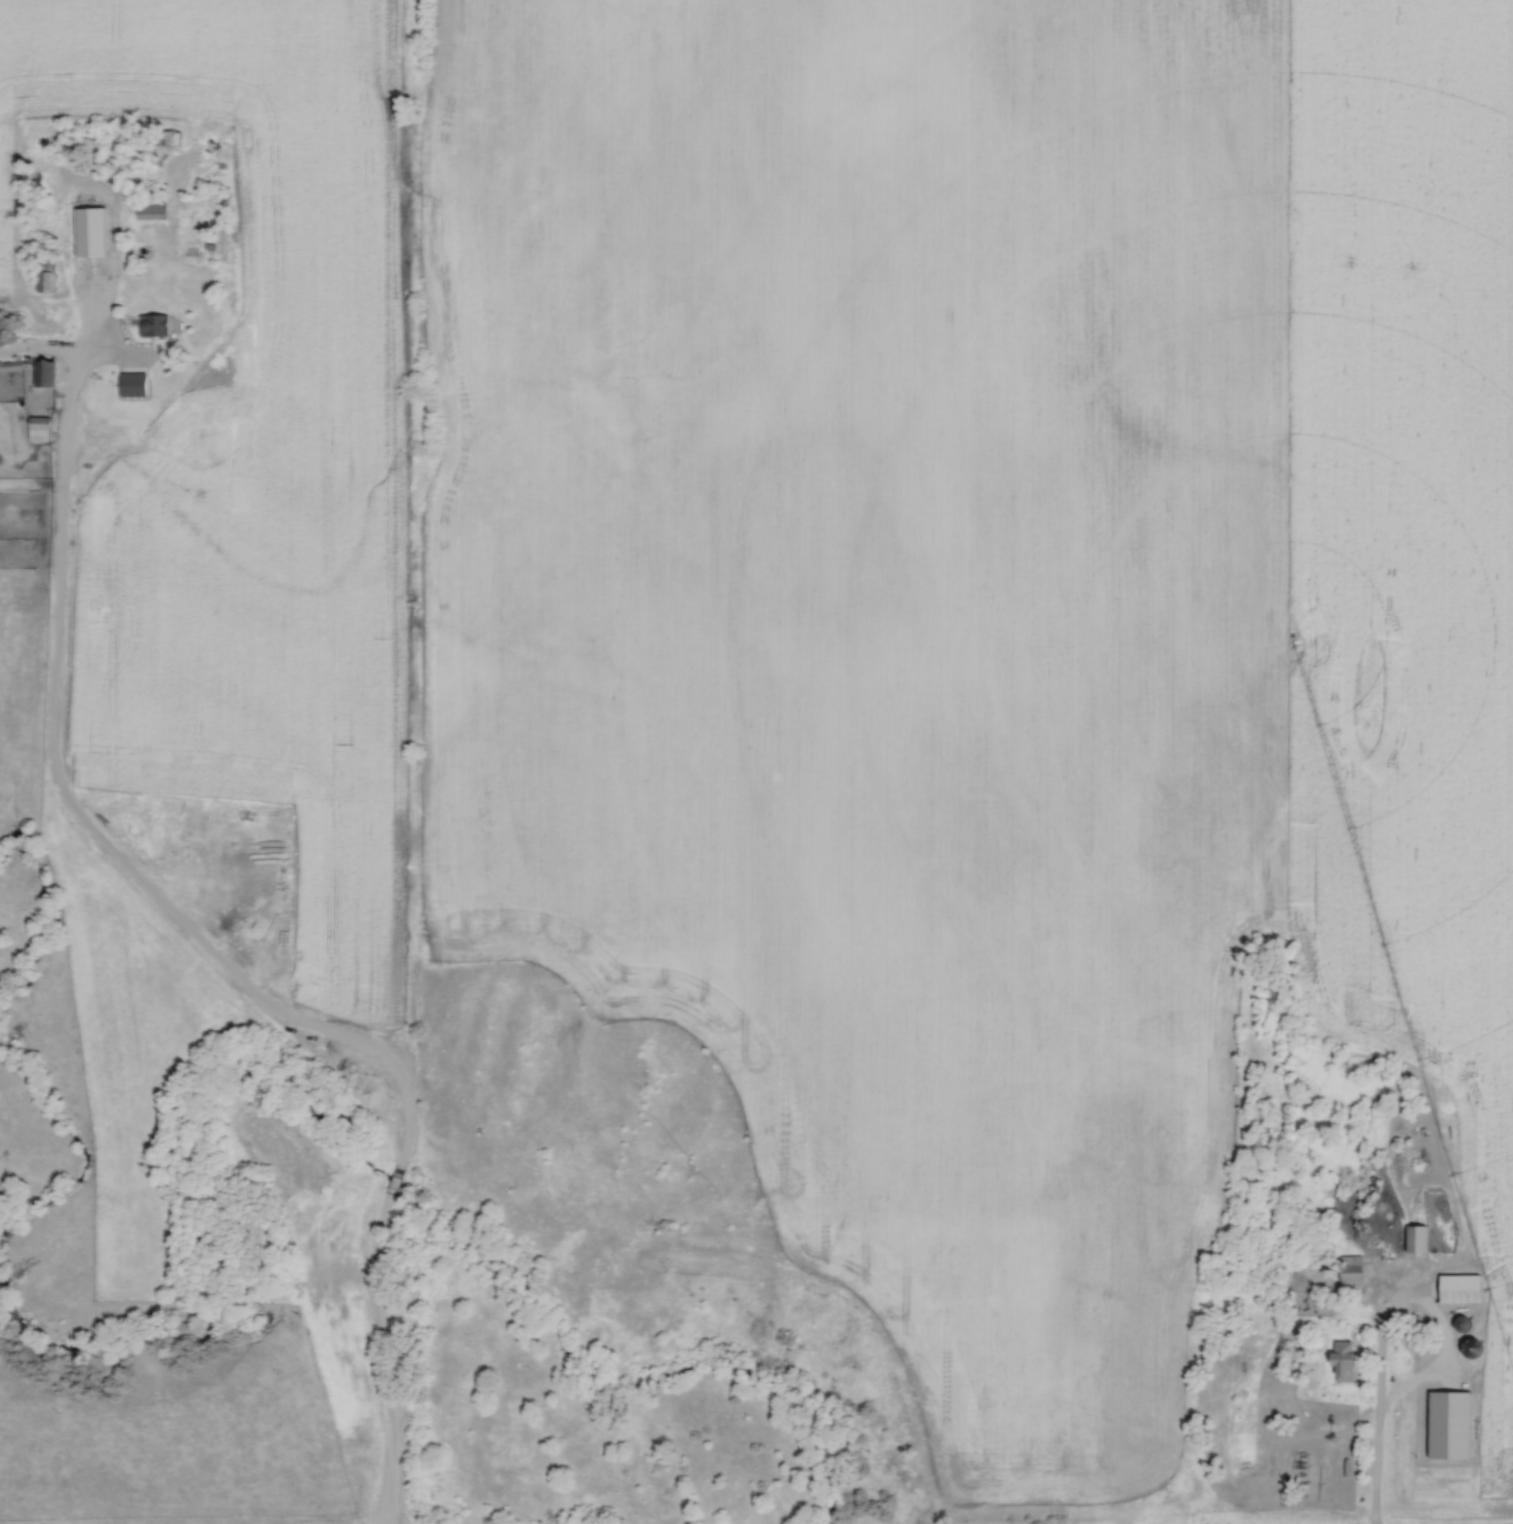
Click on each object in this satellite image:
building: (165, 139)
building: (81, 183)
building: (149, 213)
building: (95, 273)
building: (45, 275)
building: (152, 326)
building: (42, 374)
building: (135, 383)
building: (36, 429)
road: (195, 930)
building: (1414, 1241)
building: (1348, 1272)
building: (1457, 1291)
building: (1341, 1360)
road: (1375, 1394)

